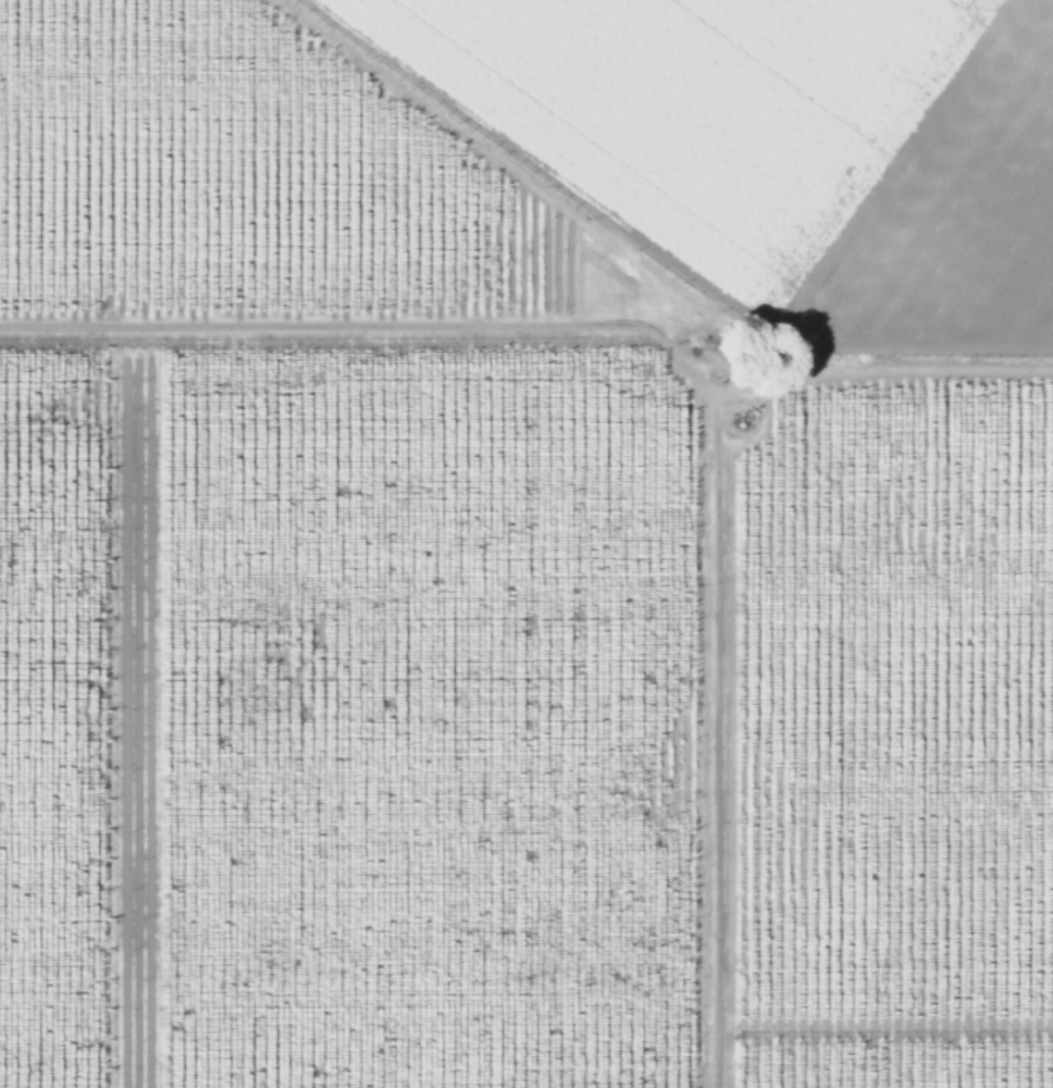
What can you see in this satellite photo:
crop: (529, 160)

